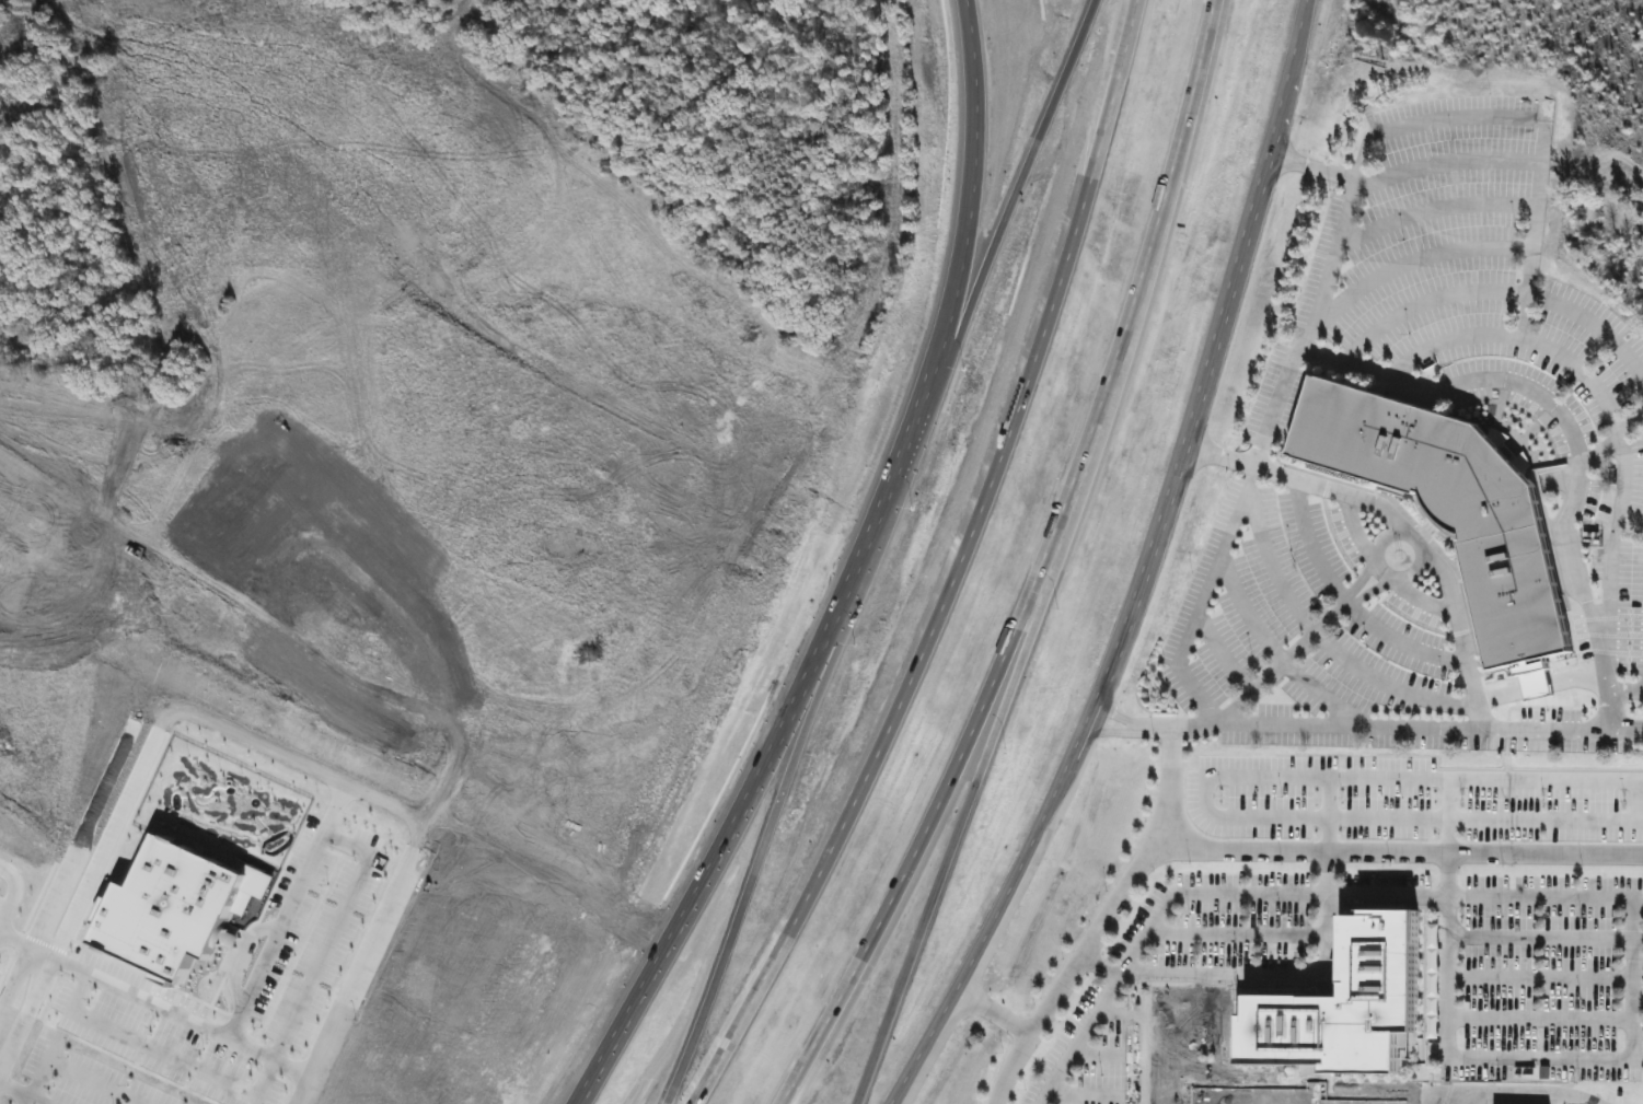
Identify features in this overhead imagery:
road: (964, 97)
road: (1455, 117)
road: (1447, 163)
road: (1314, 167)
road: (1433, 209)
road: (1532, 228)
road: (997, 239)
road: (1412, 263)
road: (1499, 291)
road: (1372, 369)
road: (1280, 404)
road: (1557, 408)
road: (1610, 415)
parking lot: (1589, 421)
road: (1611, 441)
building: (1450, 504)
road: (1400, 523)
road: (1355, 530)
road: (1402, 534)
road: (954, 567)
road: (1039, 569)
road: (1152, 573)
road: (1359, 581)
road: (1369, 591)
road: (1420, 600)
road: (1345, 604)
road: (1589, 627)
road: (1322, 641)
road: (1222, 654)
road: (1276, 654)
road: (810, 667)
road: (1256, 687)
road: (1539, 689)
road: (1195, 692)
road: (1624, 692)
road: (1120, 717)
road: (1421, 724)
road: (1638, 728)
road: (1638, 731)
road: (1110, 733)
road: (147, 741)
road: (394, 797)
road: (953, 824)
road: (1398, 850)
road: (759, 855)
road: (1402, 896)
road: (285, 903)
road: (1327, 911)
building: (176, 914)
road: (1103, 922)
road: (327, 930)
road: (1237, 936)
road: (1540, 939)
road: (1638, 940)
road: (1447, 954)
road: (1101, 965)
road: (354, 974)
road: (14, 975)
road: (1166, 976)
road: (1265, 977)
road: (1540, 977)
road: (1632, 978)
parking lot: (1552, 992)
road: (32, 998)
road: (1104, 998)
building: (1343, 1006)
road: (182, 1012)
road: (990, 1012)
road: (1153, 1014)
road: (1540, 1020)
road: (1211, 1039)
road: (162, 1048)
road: (1141, 1054)
road: (1540, 1058)
road: (67, 1072)
road: (22, 1093)
road: (1155, 1095)
road: (1463, 1095)
road: (1265, 1101)

